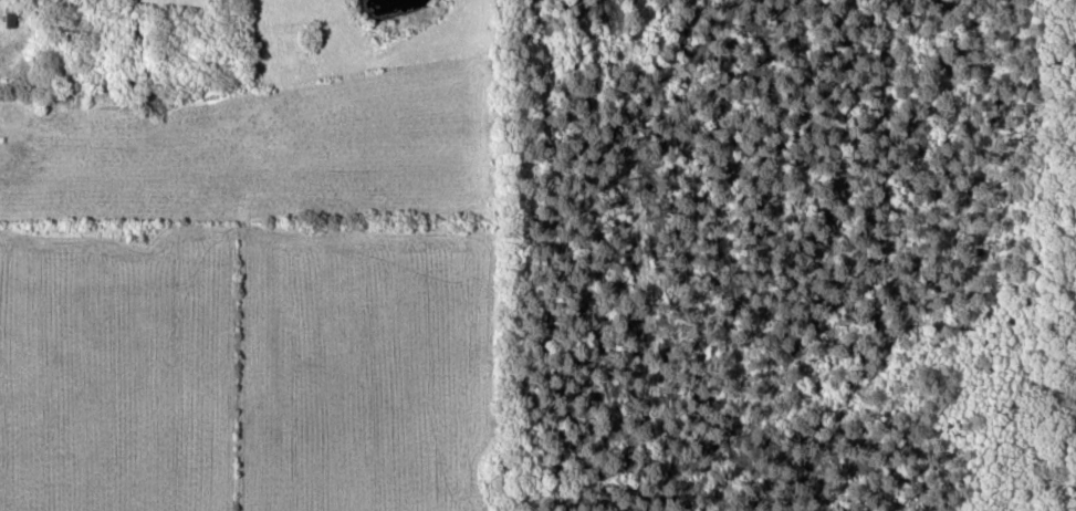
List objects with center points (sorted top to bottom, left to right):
building: (13, 12)
road: (0, 496)

